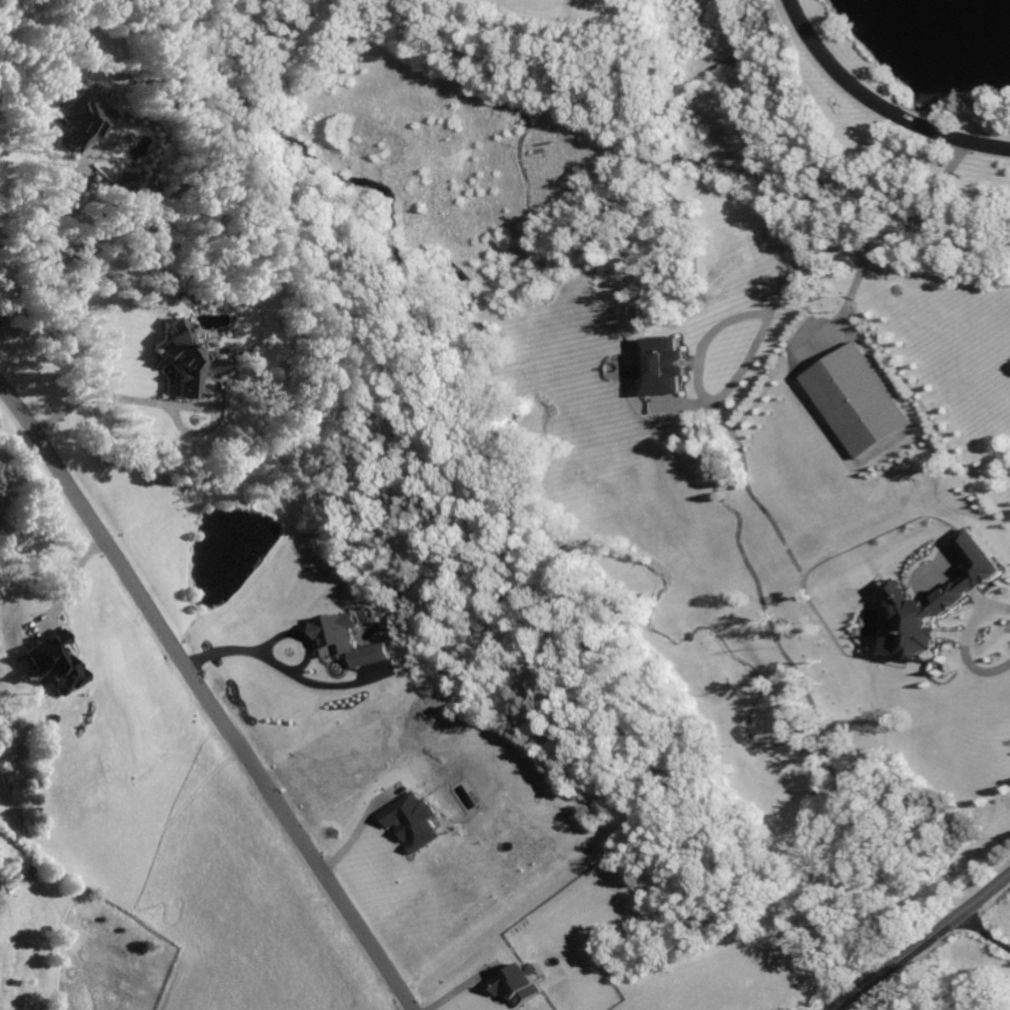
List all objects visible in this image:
park: (931, 53)
road: (689, 79)
road: (878, 106)
building: (79, 120)
road: (41, 145)
road: (888, 231)
building: (185, 359)
road: (742, 359)
building: (662, 366)
park: (647, 380)
road: (98, 389)
building: (854, 400)
road: (76, 581)
building: (932, 602)
road: (278, 632)
building: (346, 640)
road: (966, 642)
building: (51, 662)
road: (206, 693)
building: (411, 820)
road: (352, 833)
road: (984, 934)
road: (924, 943)
building: (517, 983)

